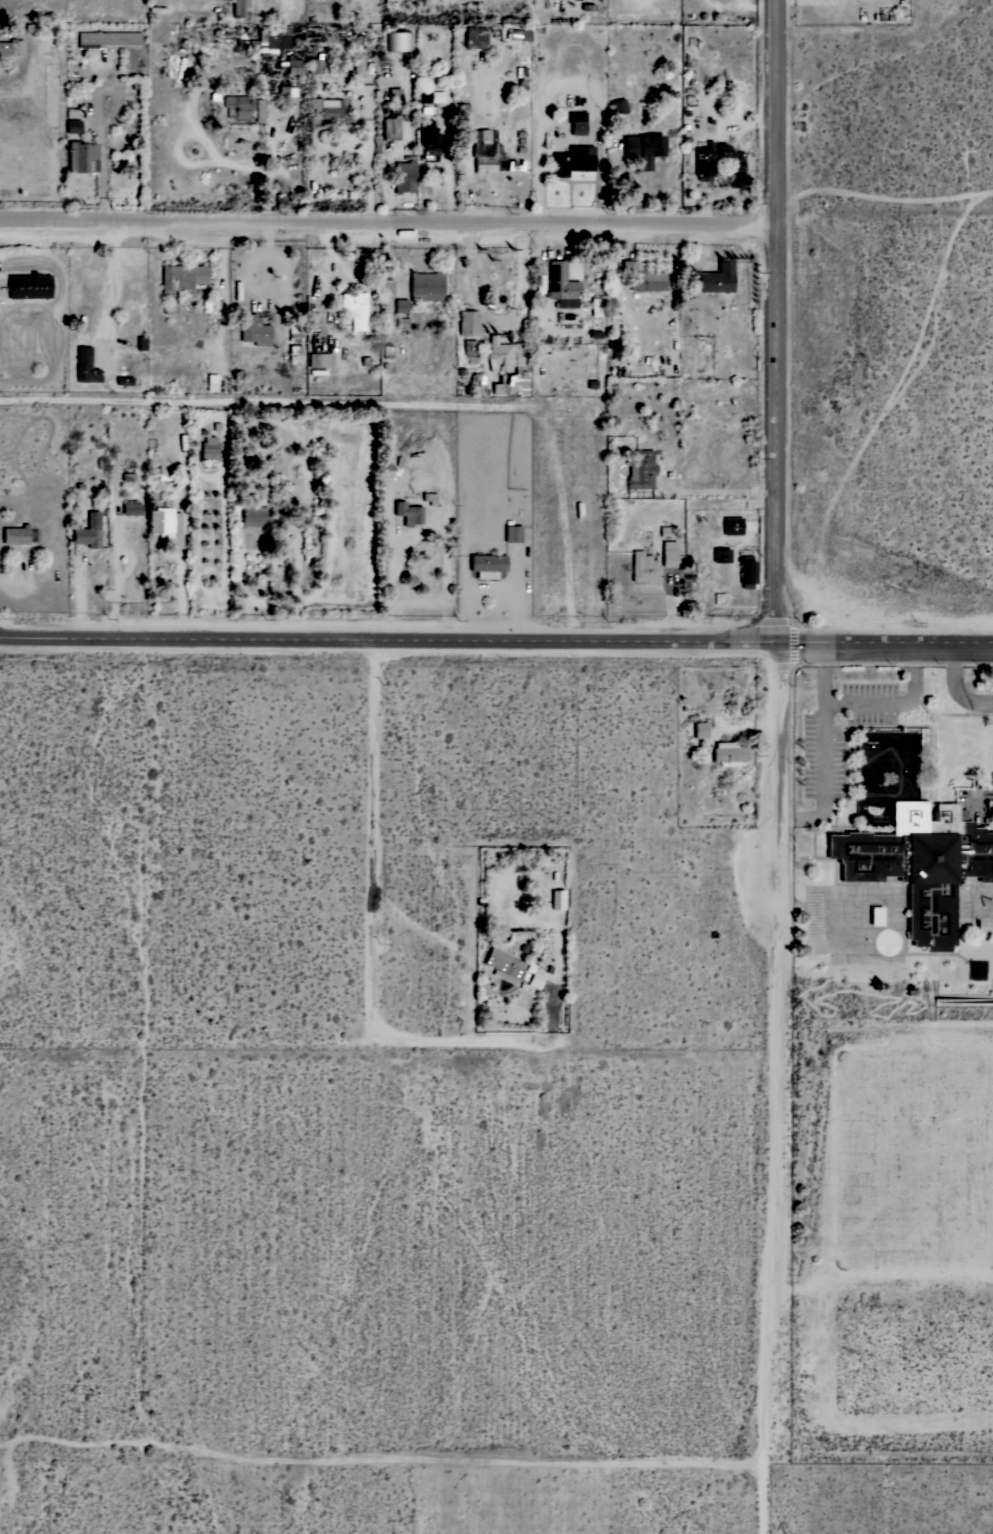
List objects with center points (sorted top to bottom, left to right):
building: (240, 8)
building: (516, 34)
building: (475, 37)
building: (108, 38)
building: (271, 39)
building: (398, 41)
building: (11, 47)
building: (315, 64)
building: (290, 65)
building: (357, 66)
building: (521, 80)
building: (428, 96)
building: (618, 106)
building: (239, 107)
building: (326, 108)
building: (259, 110)
building: (392, 115)
building: (577, 122)
building: (73, 126)
building: (428, 140)
building: (643, 148)
building: (489, 154)
building: (82, 157)
building: (571, 161)
building: (704, 163)
building: (404, 176)
road: (388, 221)
building: (181, 277)
building: (642, 277)
building: (717, 278)
building: (28, 285)
building: (561, 285)
building: (425, 286)
building: (400, 305)
building: (354, 308)
building: (595, 315)
road: (498, 318)
building: (468, 322)
road: (777, 324)
building: (254, 330)
building: (294, 330)
building: (141, 343)
building: (469, 351)
building: (295, 355)
building: (318, 360)
building: (85, 366)
building: (505, 369)
building: (124, 380)
building: (212, 382)
road: (387, 405)
building: (208, 448)
building: (250, 455)
building: (641, 469)
building: (131, 507)
building: (407, 513)
building: (253, 515)
building: (163, 521)
building: (732, 525)
building: (665, 530)
building: (88, 531)
building: (512, 533)
building: (15, 534)
building: (312, 536)
building: (721, 555)
building: (668, 556)
building: (486, 565)
building: (644, 569)
building: (746, 571)
road: (496, 644)
road: (822, 676)
road: (822, 705)
building: (700, 730)
building: (728, 753)
road: (786, 755)
road: (374, 838)
building: (919, 863)
building: (557, 899)
road: (411, 923)
building: (503, 965)
road: (550, 1013)
road: (472, 1041)
road: (779, 1198)

